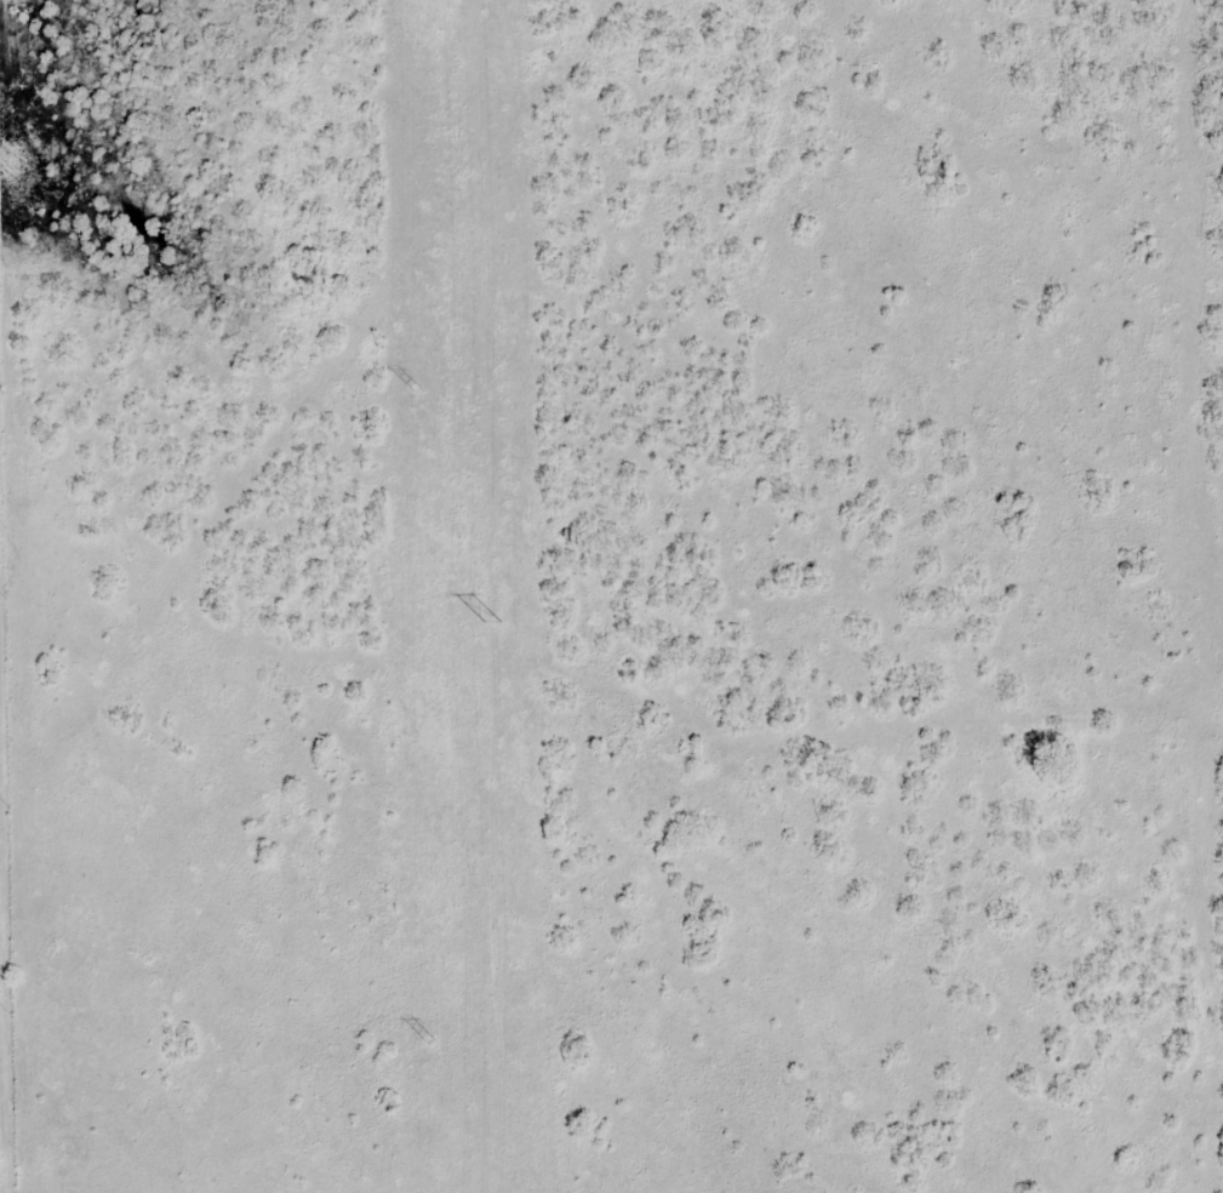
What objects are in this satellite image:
power tower: (417, 389)
power tower: (490, 626)
power tower: (429, 1040)

